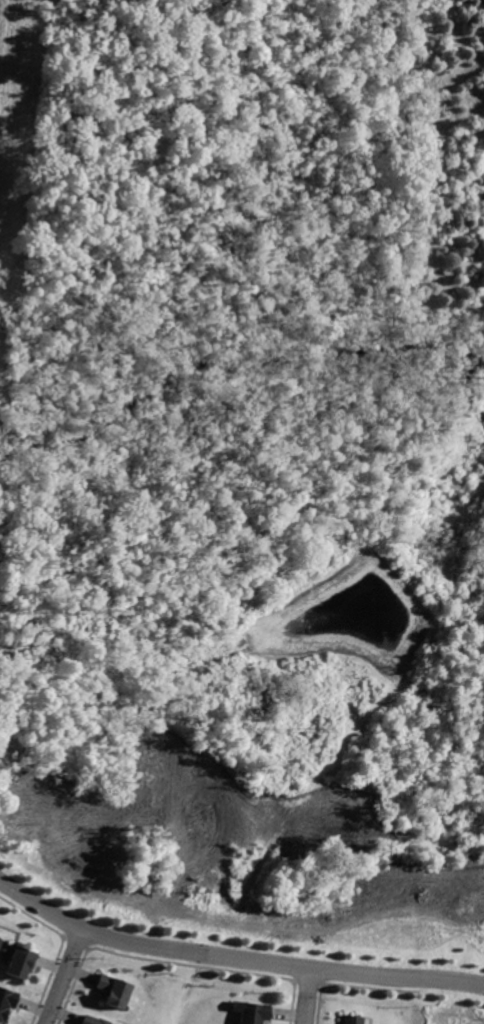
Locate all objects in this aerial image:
road: (234, 956)
building: (16, 962)
road: (62, 975)
building: (110, 990)
road: (306, 995)
building: (6, 999)
building: (250, 1012)
building: (348, 1019)
building: (90, 1020)

